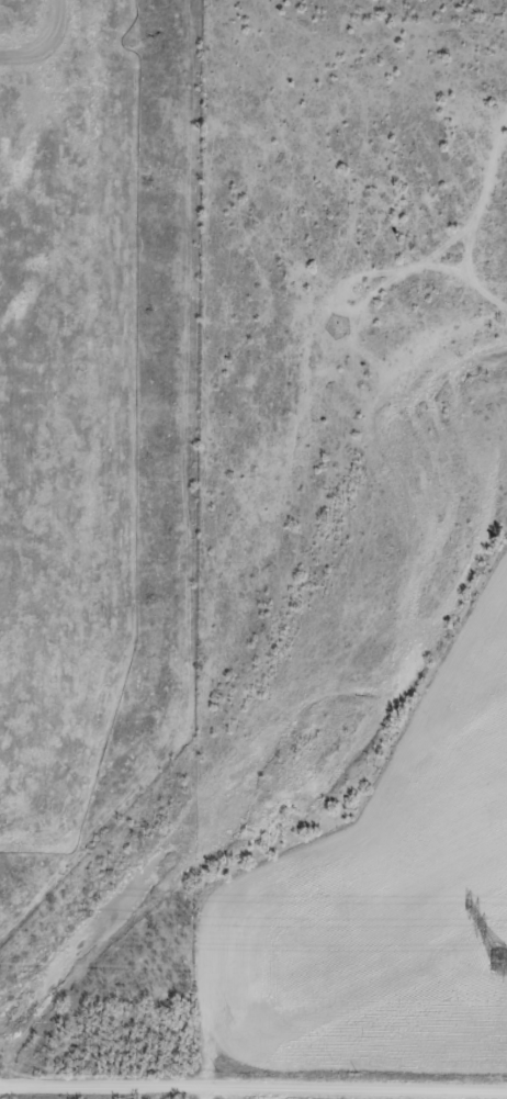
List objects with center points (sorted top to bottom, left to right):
power tower: (500, 962)
road: (253, 1079)
crop: (316, 1096)

